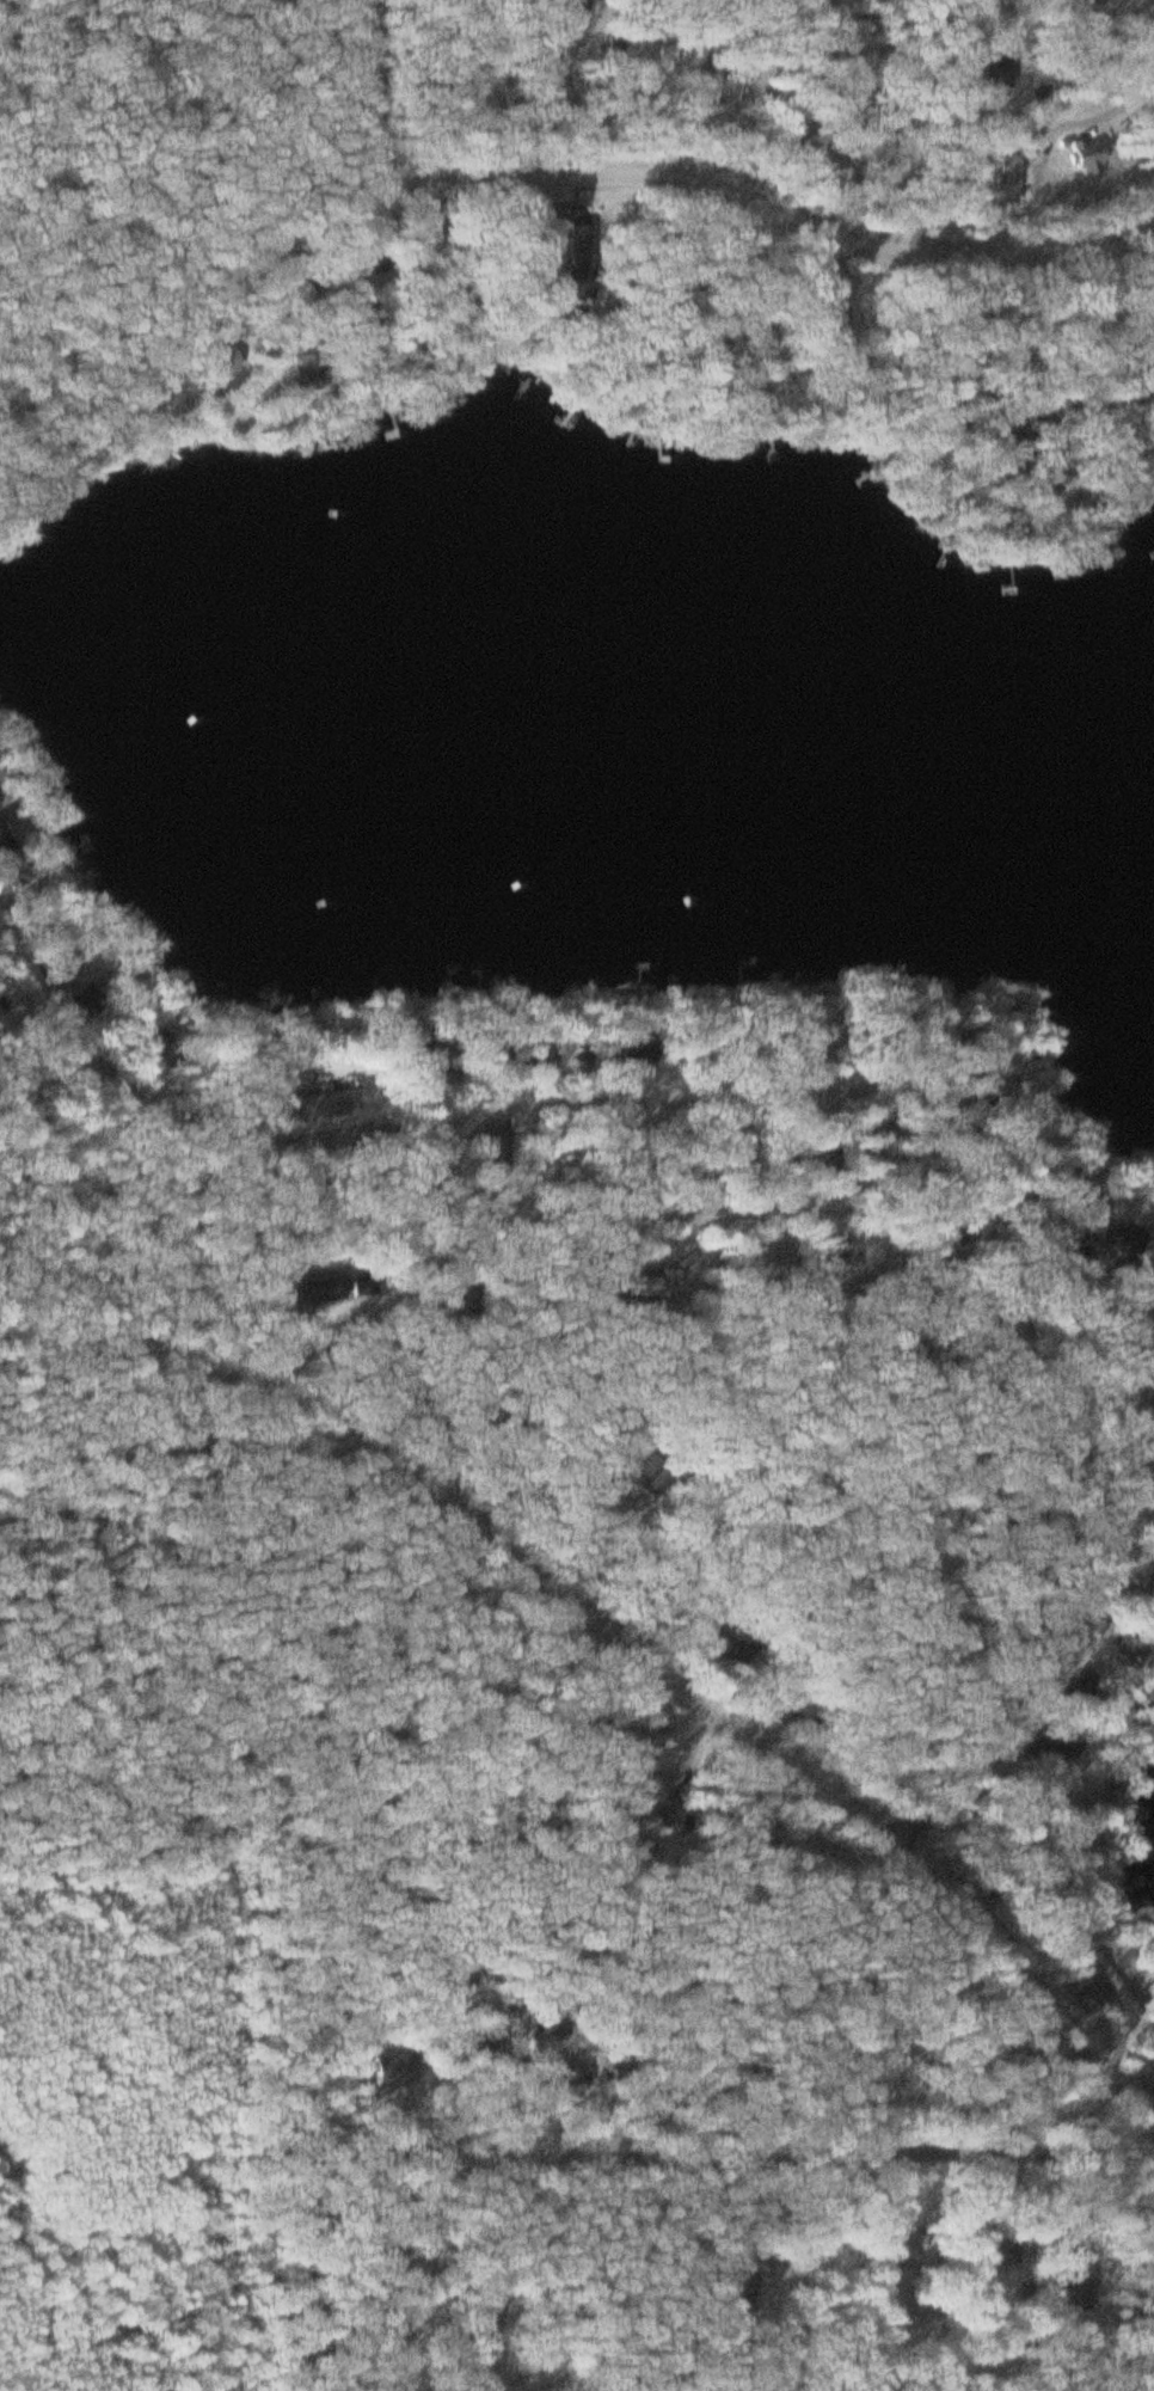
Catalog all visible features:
building: (649, 57)
building: (1002, 70)
building: (731, 92)
road: (765, 94)
road: (363, 158)
road: (275, 160)
road: (766, 183)
building: (582, 288)
building: (5, 844)
building: (17, 876)
road: (874, 1080)
building: (324, 1108)
building: (1128, 1242)
building: (835, 1256)
building: (768, 1264)
building: (321, 1292)
road: (1009, 1368)
building: (646, 1478)
building: (1128, 1602)
road: (630, 1631)
building: (1088, 1693)
building: (1049, 1745)
building: (662, 1792)
building: (1056, 1797)
building: (1088, 1993)
building: (400, 2070)
road: (800, 2148)
road: (12, 2208)
building: (914, 2249)
building: (742, 2289)

